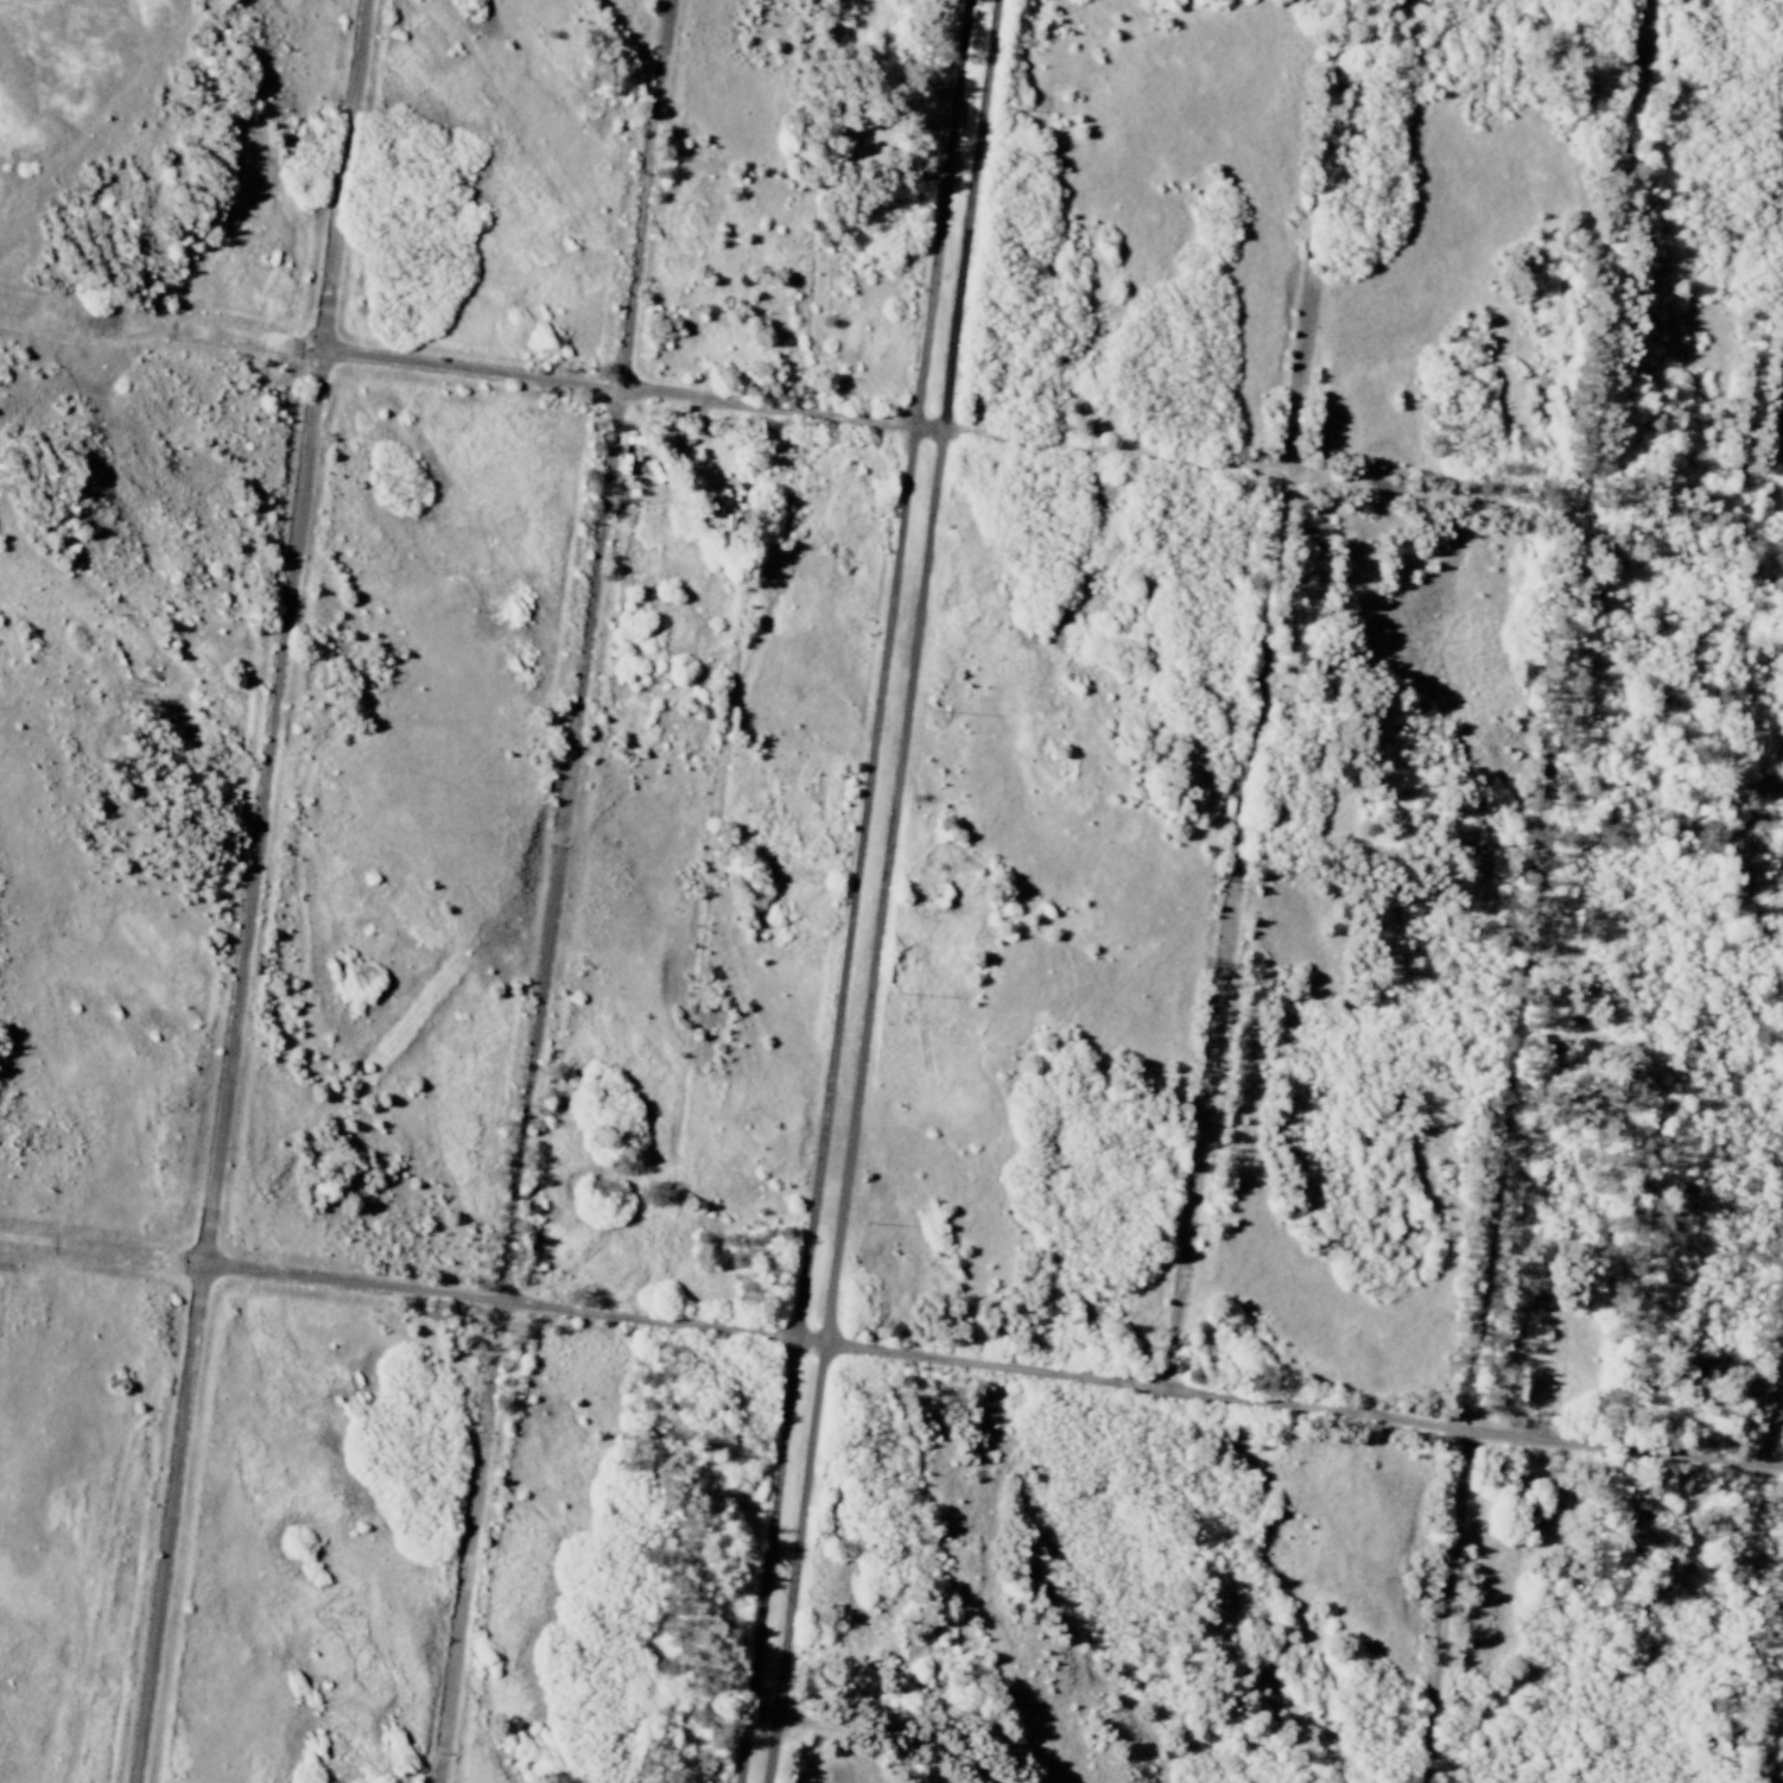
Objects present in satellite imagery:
road: (249, 344)
road: (1053, 446)
building: (621, 463)
road: (1252, 775)
road: (252, 890)
road: (858, 890)
road: (888, 890)
road: (556, 892)
road: (1541, 892)
road: (129, 1257)
road: (992, 1370)
road: (1756, 1574)
road: (880, 1731)

